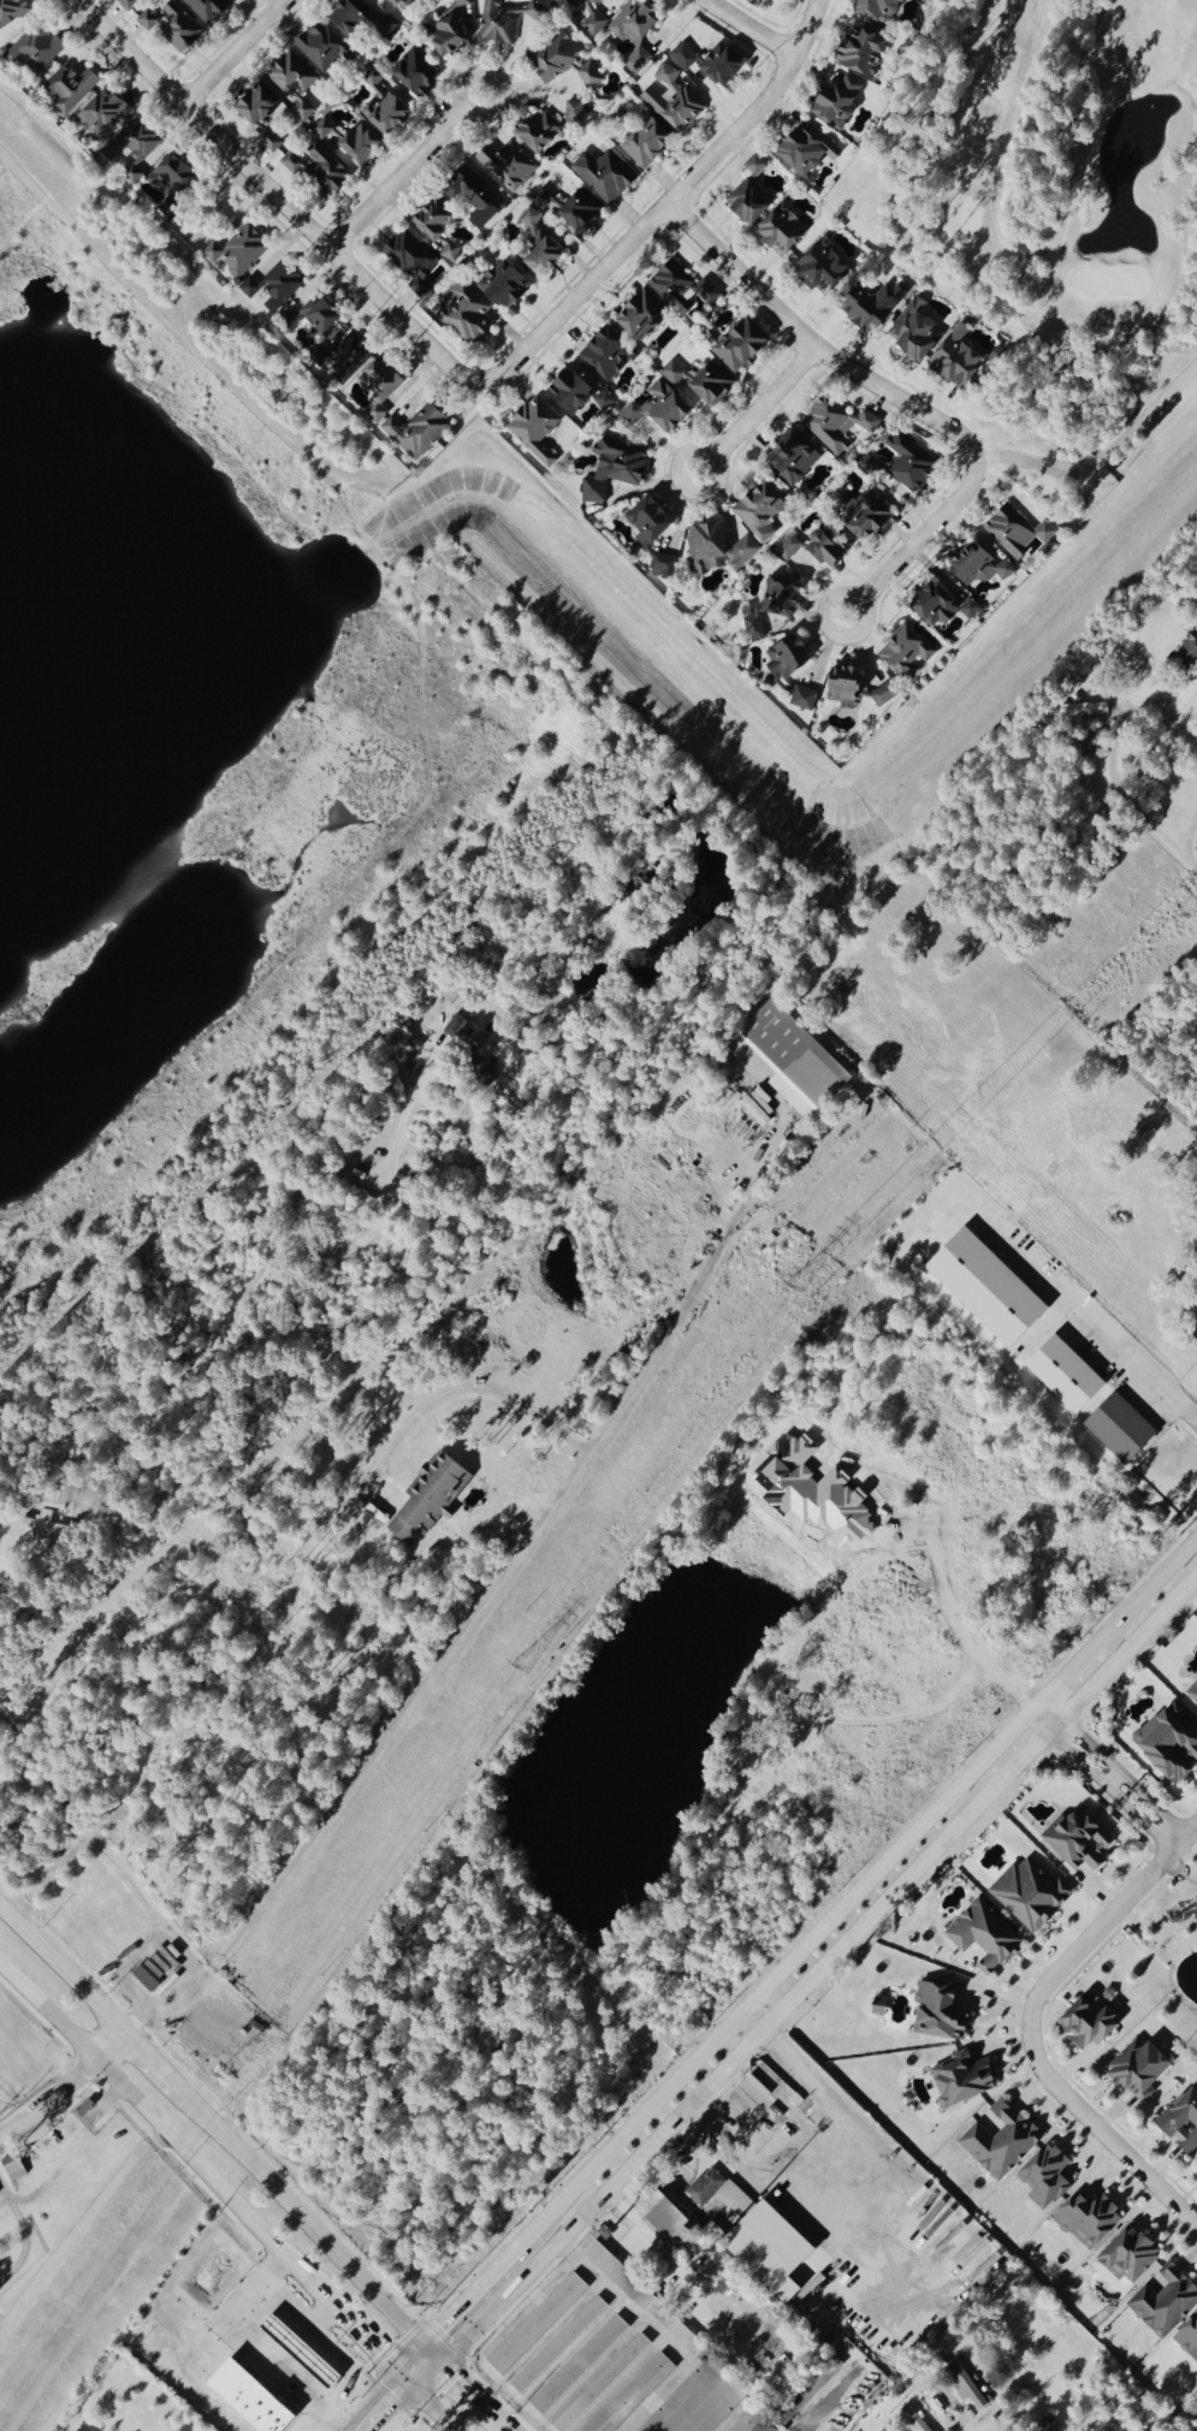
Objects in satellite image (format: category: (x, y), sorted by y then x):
building: (550, 0)
building: (782, 0)
building: (129, 4)
building: (401, 4)
building: (208, 10)
building: (881, 11)
building: (11, 12)
building: (586, 14)
building: (350, 20)
building: (505, 22)
building: (173, 28)
road: (749, 29)
building: (456, 30)
building: (634, 34)
building: (322, 48)
building: (38, 51)
building: (864, 51)
road: (237, 53)
building: (683, 58)
building: (563, 64)
building: (722, 67)
building: (417, 76)
building: (294, 85)
building: (71, 89)
building: (675, 101)
building: (840, 103)
building: (257, 106)
building: (390, 114)
building: (103, 115)
building: (549, 126)
building: (351, 142)
building: (648, 146)
building: (135, 150)
building: (806, 152)
building: (509, 166)
building: (755, 167)
building: (318, 170)
park: (1042, 172)
road: (409, 173)
building: (606, 177)
building: (172, 183)
road: (275, 194)
building: (475, 197)
building: (543, 200)
building: (749, 204)
road: (669, 208)
building: (582, 213)
building: (783, 232)
building: (538, 247)
building: (238, 254)
building: (411, 262)
building: (823, 271)
building: (505, 286)
building: (275, 289)
building: (681, 289)
road: (1019, 302)
building: (877, 306)
building: (466, 313)
building: (322, 318)
building: (642, 318)
building: (917, 333)
building: (742, 348)
building: (346, 356)
building: (609, 356)
building: (713, 387)
building: (384, 389)
building: (570, 393)
building: (605, 402)
road: (903, 402)
building: (666, 403)
road: (759, 414)
building: (839, 427)
building: (537, 432)
building: (417, 433)
road: (1102, 458)
building: (793, 461)
building: (912, 464)
building: (871, 467)
building: (615, 468)
building: (762, 512)
building: (867, 517)
building: (652, 524)
building: (1019, 533)
building: (721, 549)
building: (830, 549)
building: (664, 565)
building: (982, 569)
building: (946, 605)
building: (776, 609)
building: (908, 651)
building: (790, 657)
building: (846, 688)
building: (884, 695)
building: (804, 699)
road: (1118, 782)
road: (1193, 866)
power tower: (1195, 890)
building: (456, 1027)
road: (1128, 1048)
building: (796, 1056)
building: (989, 1289)
power tower: (794, 1293)
road: (1094, 1327)
road: (670, 1333)
road: (205, 1350)
building: (1067, 1377)
building: (1121, 1430)
building: (429, 1499)
building: (45, 1529)
road: (632, 1544)
road: (1148, 1589)
road: (468, 1621)
road: (958, 1632)
road: (1126, 1648)
power tower: (520, 1670)
road: (1068, 1672)
building: (1193, 1695)
road: (1047, 1713)
road: (1090, 1741)
building: (1171, 1747)
road: (1075, 1755)
road: (1023, 1756)
road: (1112, 1777)
building: (4, 1785)
road: (1152, 1802)
road: (1139, 1816)
building: (1106, 1824)
building: (1079, 1843)
road: (124, 1881)
building: (1031, 1896)
road: (1101, 1923)
building: (984, 1940)
road: (61, 1968)
building: (153, 1970)
road: (777, 1973)
building: (146, 1980)
road: (191, 1992)
building: (941, 2011)
road: (752, 2020)
building: (1092, 2021)
road: (152, 2059)
building: (1140, 2069)
power tower: (220, 2076)
road: (716, 2076)
building: (964, 2080)
road: (65, 2083)
road: (799, 2085)
building: (1183, 2122)
road: (165, 2131)
road: (1106, 2134)
building: (1001, 2142)
building: (13, 2168)
building: (1048, 2177)
building: (722, 2193)
road: (762, 2194)
road: (301, 2217)
building: (1089, 2219)
road: (25, 2237)
building: (771, 2248)
building: (1132, 2255)
road: (691, 2276)
building: (724, 2283)
road: (469, 2291)
building: (647, 2301)
building: (1166, 2302)
road: (318, 2314)
building: (537, 2325)
road: (654, 2331)
road: (362, 2336)
building: (1189, 2338)
traffic signals: (423, 2342)
road: (257, 2343)
road: (322, 2344)
building: (557, 2347)
road: (432, 2350)
road: (410, 2356)
traffic signals: (442, 2360)
building: (577, 2367)
traffic signals: (397, 2371)
road: (427, 2373)
building: (600, 2385)
traffic signals: (413, 2388)
building: (967, 2388)
building: (808, 2390)
road: (478, 2395)
building: (632, 2396)
building: (251, 2399)
road: (371, 2400)
road: (426, 2401)
building: (699, 2401)
road: (390, 2408)
building: (913, 2420)
building: (747, 2423)
building: (889, 2429)

